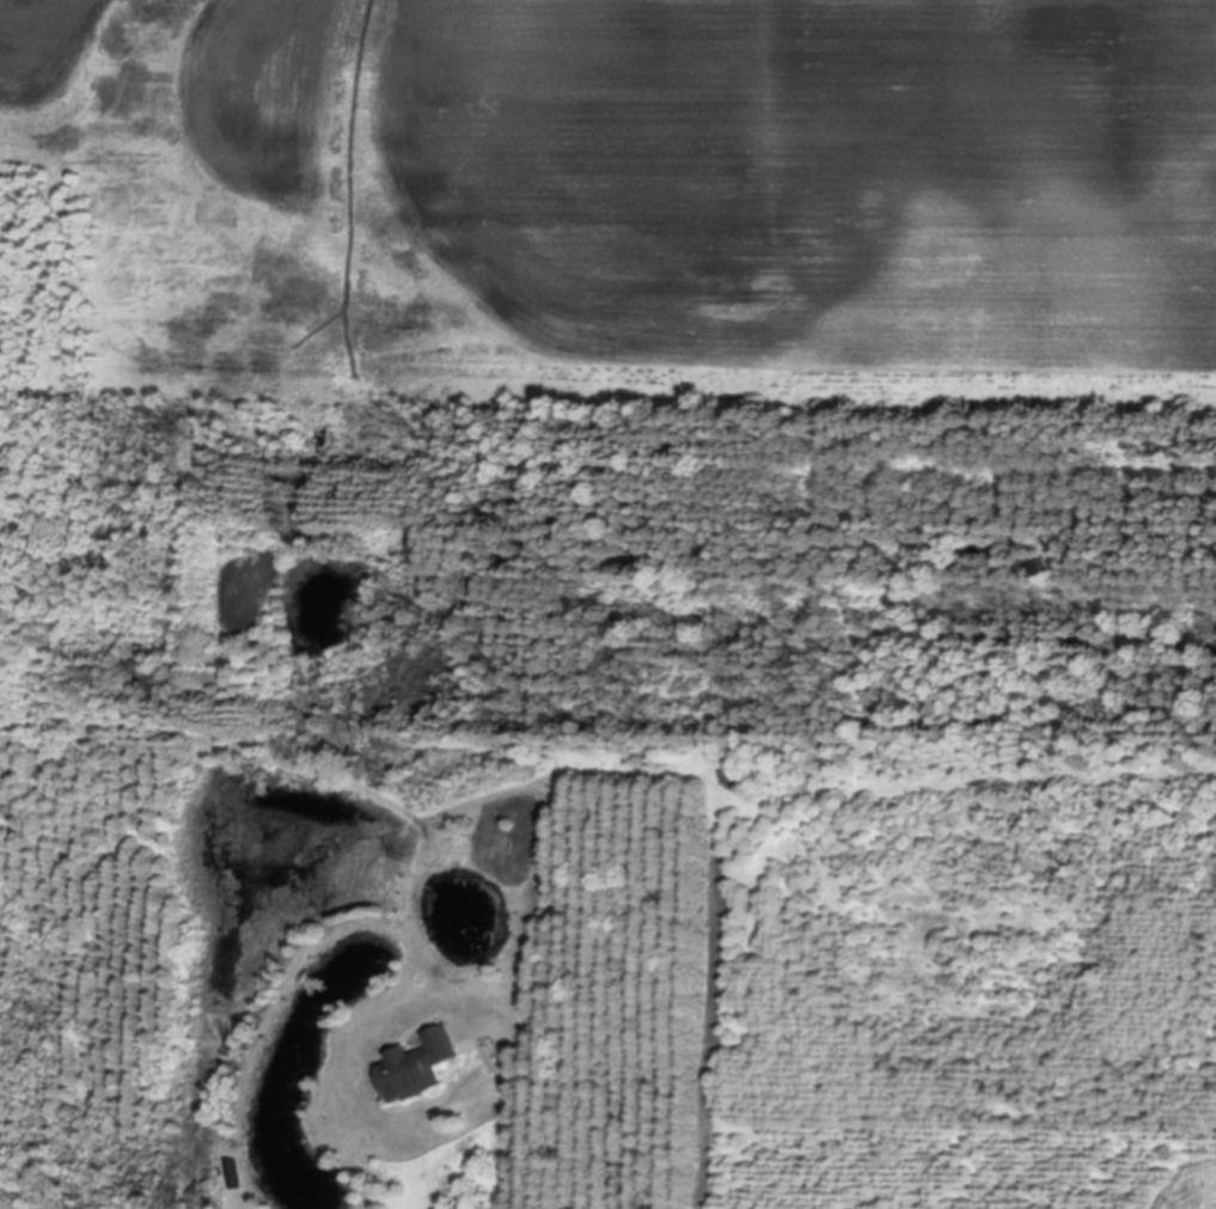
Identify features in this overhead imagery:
building: (418, 1067)
road: (507, 1119)

